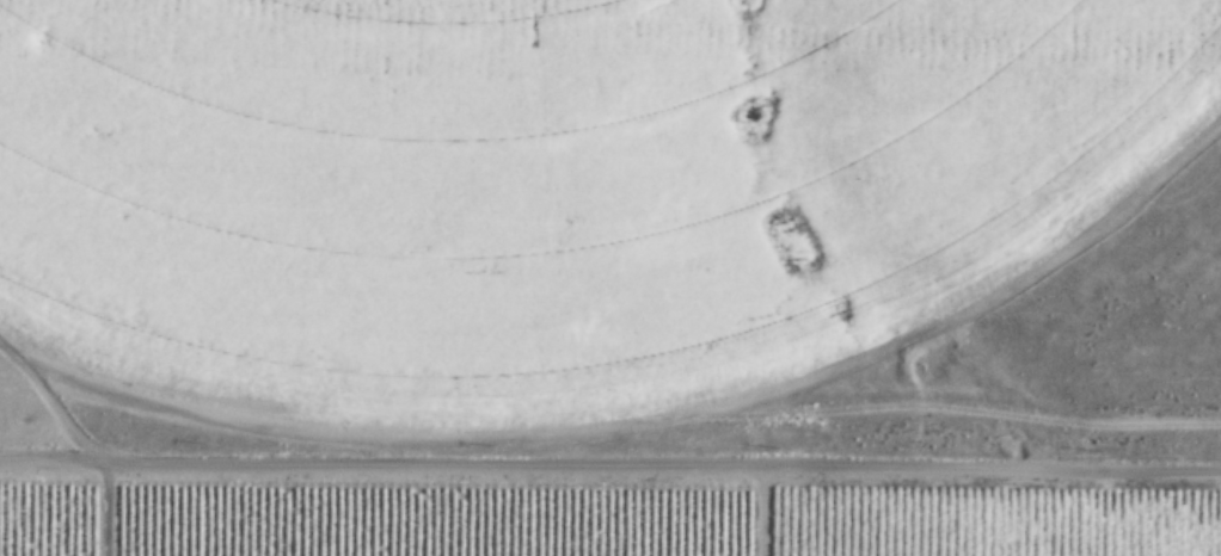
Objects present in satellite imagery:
crop: (577, 215)

